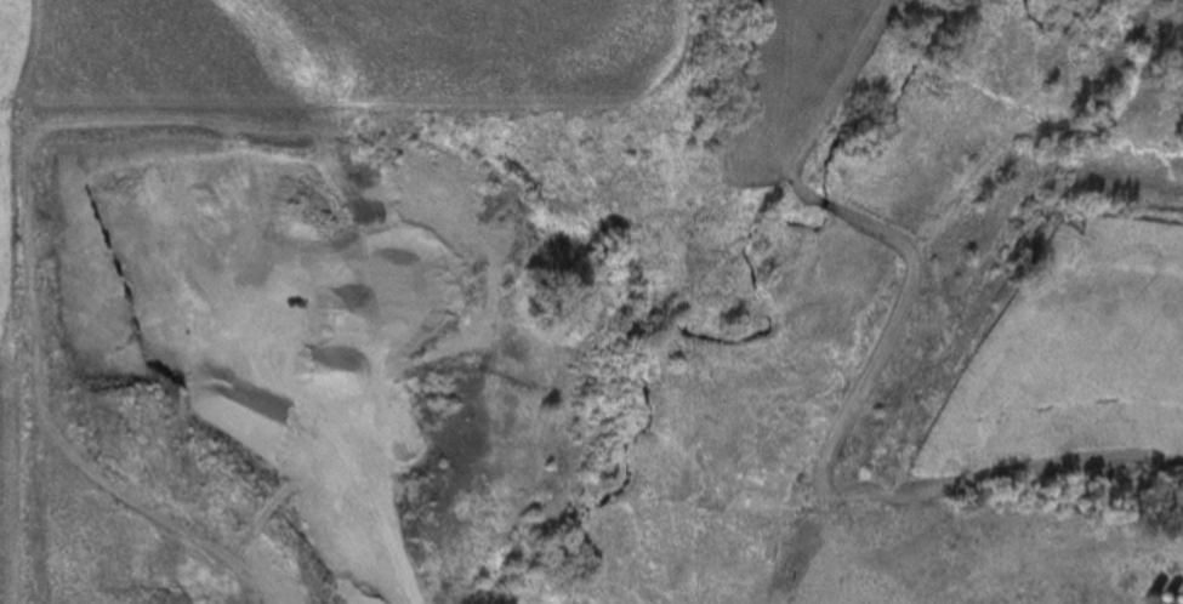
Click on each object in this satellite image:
quarry: (303, 361)
road: (363, 522)

